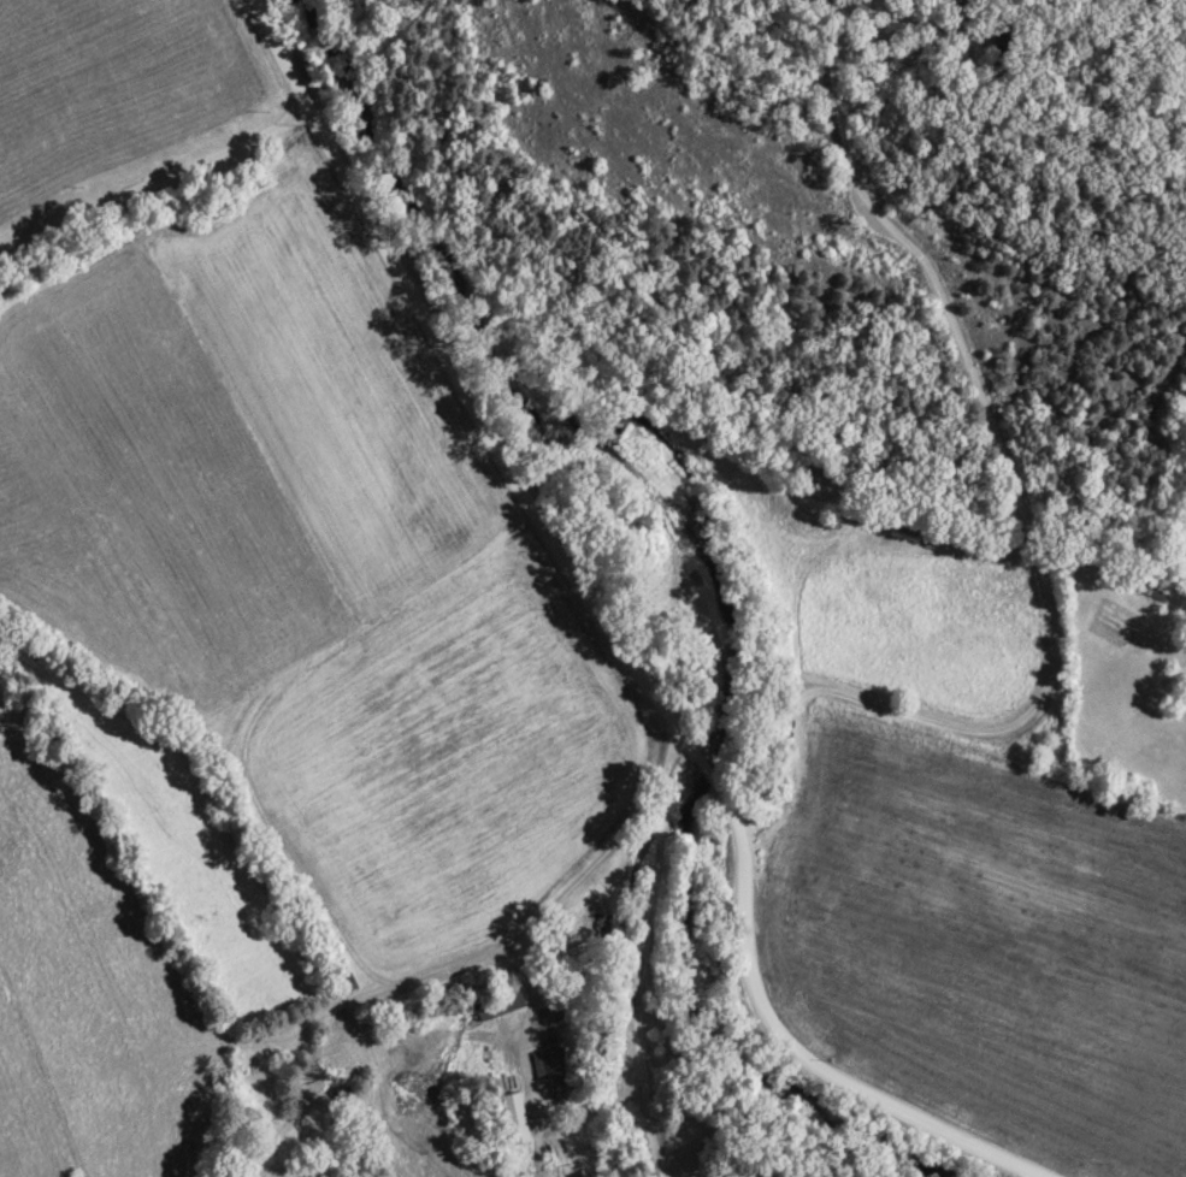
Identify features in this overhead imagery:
road: (154, 178)
building: (907, 526)
road: (1034, 538)
road: (622, 643)
road: (649, 945)
road: (485, 952)
building: (496, 1006)
road: (524, 1033)
building: (547, 1065)
building: (513, 1119)

